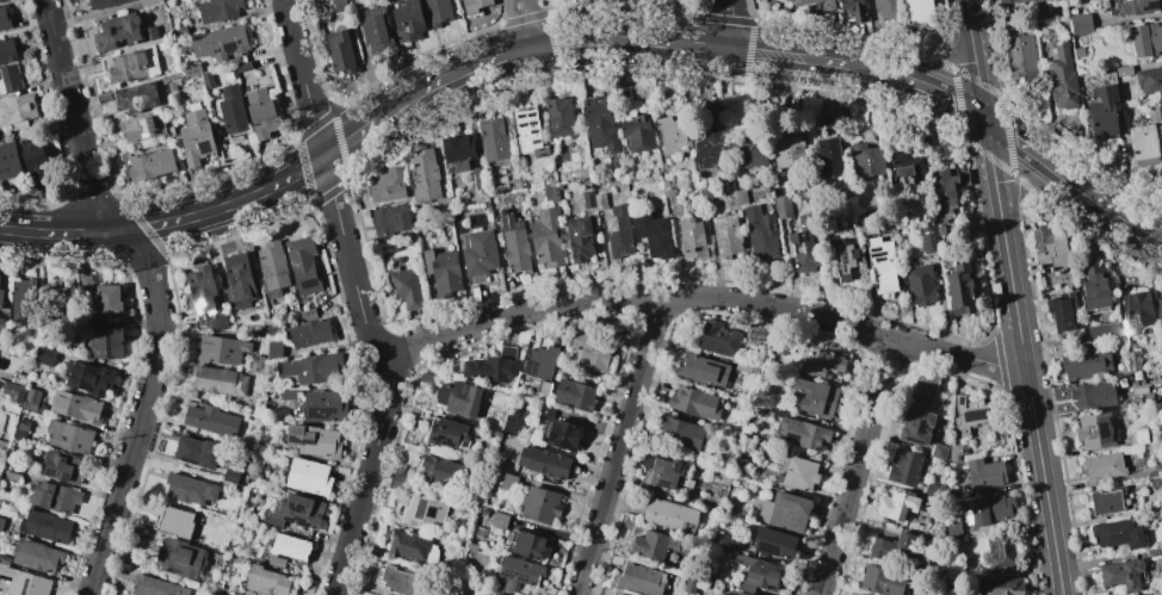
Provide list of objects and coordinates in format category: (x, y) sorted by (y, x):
building: (0, 0)
building: (789, 0)
building: (1033, 0)
building: (1009, 1)
building: (150, 2)
building: (105, 4)
building: (340, 5)
building: (475, 5)
building: (829, 6)
building: (1138, 6)
rooftop solar panel: (1151, 6)
building: (220, 10)
building: (889, 10)
building: (855, 11)
building: (1042, 11)
building: (437, 12)
building: (920, 12)
building: (1008, 14)
building: (4, 19)
building: (408, 21)
road: (525, 23)
road: (730, 24)
building: (1081, 24)
building: (376, 29)
building: (119, 31)
building: (181, 31)
building: (152, 33)
building: (1146, 39)
road: (582, 41)
building: (222, 44)
rooftop solar panel: (229, 48)
building: (7, 50)
building: (340, 51)
building: (1078, 52)
building: (1021, 57)
road: (972, 58)
road: (939, 64)
building: (129, 67)
building: (243, 68)
building: (192, 69)
building: (1124, 70)
building: (1063, 76)
building: (10, 79)
building: (208, 80)
building: (1150, 80)
building: (136, 99)
building: (18, 111)
building: (1105, 112)
building: (260, 113)
building: (234, 114)
rooftop solar panel: (531, 114)
rooftop solar panel: (521, 116)
building: (558, 117)
traffic signals: (983, 117)
rooftop solar panel: (153, 123)
rooftop solar panel: (532, 124)
rooftop solar panel: (143, 125)
rooftop solar panel: (521, 125)
building: (600, 126)
building: (143, 128)
building: (527, 132)
rooftop solar panel: (533, 132)
building: (637, 134)
building: (669, 135)
building: (197, 138)
building: (492, 138)
building: (1146, 138)
rooftop solar panel: (534, 142)
building: (457, 150)
building: (747, 150)
building: (787, 150)
building: (707, 151)
building: (828, 157)
building: (32, 160)
building: (866, 160)
building: (8, 161)
building: (150, 166)
building: (906, 171)
building: (424, 176)
building: (477, 178)
road: (1028, 181)
building: (387, 185)
building: (668, 187)
building: (945, 190)
building: (550, 193)
building: (703, 193)
building: (587, 198)
building: (599, 200)
building: (783, 207)
building: (390, 219)
building: (617, 230)
road: (1160, 233)
building: (760, 234)
building: (653, 235)
building: (725, 235)
building: (546, 236)
building: (929, 237)
building: (579, 238)
building: (691, 238)
building: (514, 244)
building: (804, 244)
building: (1049, 248)
rooftop solar panel: (876, 250)
rooftop solar panel: (877, 254)
building: (478, 255)
rooftop solar panel: (843, 259)
building: (846, 259)
rooftop solar panel: (879, 260)
building: (882, 265)
building: (304, 266)
building: (273, 268)
building: (441, 271)
building: (237, 280)
building: (920, 284)
building: (84, 285)
building: (403, 287)
building: (1094, 287)
road: (153, 289)
building: (959, 289)
building: (203, 291)
road: (359, 297)
building: (1, 298)
road: (700, 298)
building: (23, 299)
building: (58, 299)
building: (109, 300)
rooftop solar panel: (247, 302)
rooftop solar panel: (237, 303)
rooftop solar panel: (245, 308)
building: (1136, 311)
building: (1158, 312)
building: (1059, 314)
building: (1, 323)
rooftop solar panel: (203, 324)
rooftop solar panel: (1126, 326)
building: (310, 330)
building: (1102, 333)
building: (716, 337)
building: (107, 343)
building: (222, 349)
building: (274, 349)
building: (588, 352)
road: (1021, 355)
building: (47, 357)
building: (1131, 360)
building: (540, 361)
building: (255, 364)
building: (1086, 364)
building: (822, 365)
building: (492, 366)
building: (742, 366)
building: (313, 367)
rooftop solar panel: (548, 367)
building: (701, 371)
building: (88, 377)
building: (426, 378)
building: (19, 379)
building: (218, 380)
building: (922, 389)
building: (13, 391)
building: (290, 395)
building: (575, 395)
building: (1093, 395)
building: (815, 397)
building: (458, 398)
building: (31, 401)
rooftop solar panel: (960, 401)
building: (694, 402)
building: (79, 407)
building: (325, 407)
building: (970, 414)
rooftop solar panel: (977, 415)
building: (211, 420)
building: (514, 422)
building: (24, 424)
building: (915, 426)
rooftop solar panel: (921, 428)
building: (1094, 430)
building: (801, 432)
building: (447, 433)
building: (679, 434)
building: (564, 435)
building: (70, 438)
building: (409, 438)
building: (314, 441)
rooftop solar panel: (308, 442)
rooftop solar panel: (917, 442)
building: (2, 445)
road: (619, 446)
building: (196, 452)
building: (938, 452)
building: (544, 463)
road: (854, 465)
building: (1102, 466)
building: (904, 467)
building: (63, 469)
building: (14, 472)
building: (983, 472)
building: (441, 473)
building: (797, 473)
building: (667, 475)
building: (254, 476)
building: (396, 476)
building: (309, 477)
building: (230, 481)
building: (506, 482)
building: (394, 485)
building: (192, 490)
building: (933, 490)
building: (56, 498)
building: (1105, 502)
building: (895, 504)
building: (540, 506)
building: (987, 509)
rooftop solar panel: (298, 510)
building: (424, 510)
building: (784, 510)
building: (297, 512)
building: (669, 515)
building: (499, 520)
building: (175, 521)
rooftop solar panel: (299, 521)
building: (1, 523)
building: (47, 527)
building: (953, 529)
building: (1117, 533)
building: (725, 541)
building: (773, 543)
building: (651, 544)
building: (408, 545)
building: (529, 546)
building: (291, 548)
building: (892, 548)
rooftop solar panel: (767, 550)
building: (997, 551)
building: (37, 557)
building: (181, 558)
building: (517, 574)
rooftop solar panel: (515, 575)
building: (759, 575)
building: (1121, 575)
building: (395, 579)
building: (641, 579)
building: (267, 581)
building: (882, 581)
building: (24, 582)
building: (1002, 585)
building: (157, 587)
building: (495, 594)
building: (617, 594)
building: (747, 594)
building: (948, 594)
building: (1142, 594)
building: (1148, 594)

